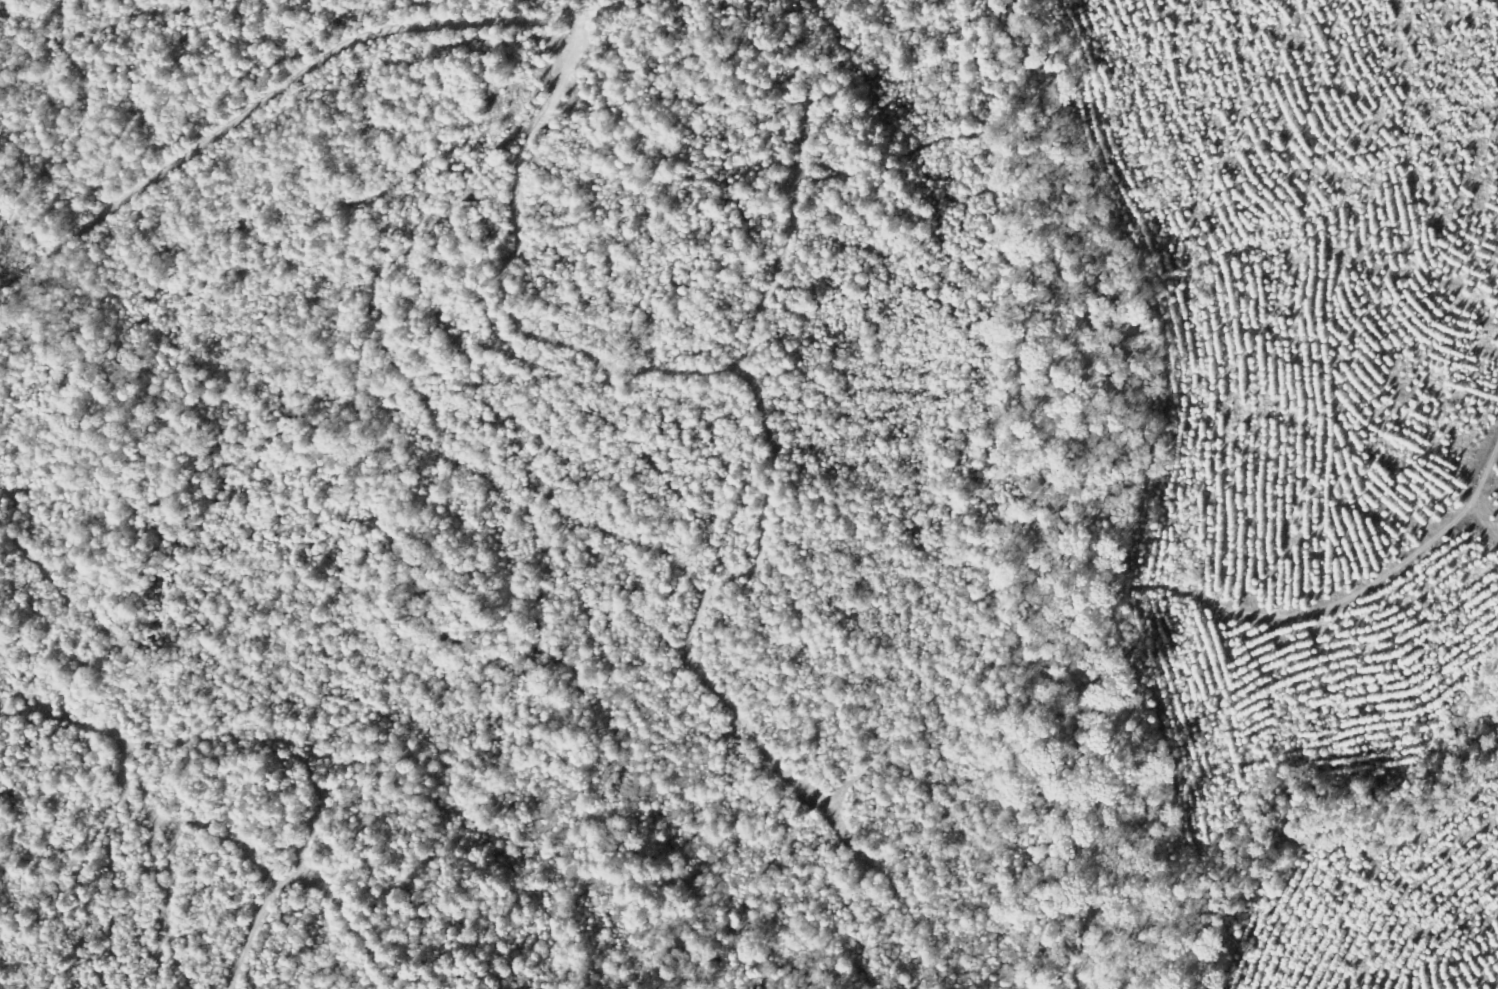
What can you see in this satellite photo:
road: (351, 182)

